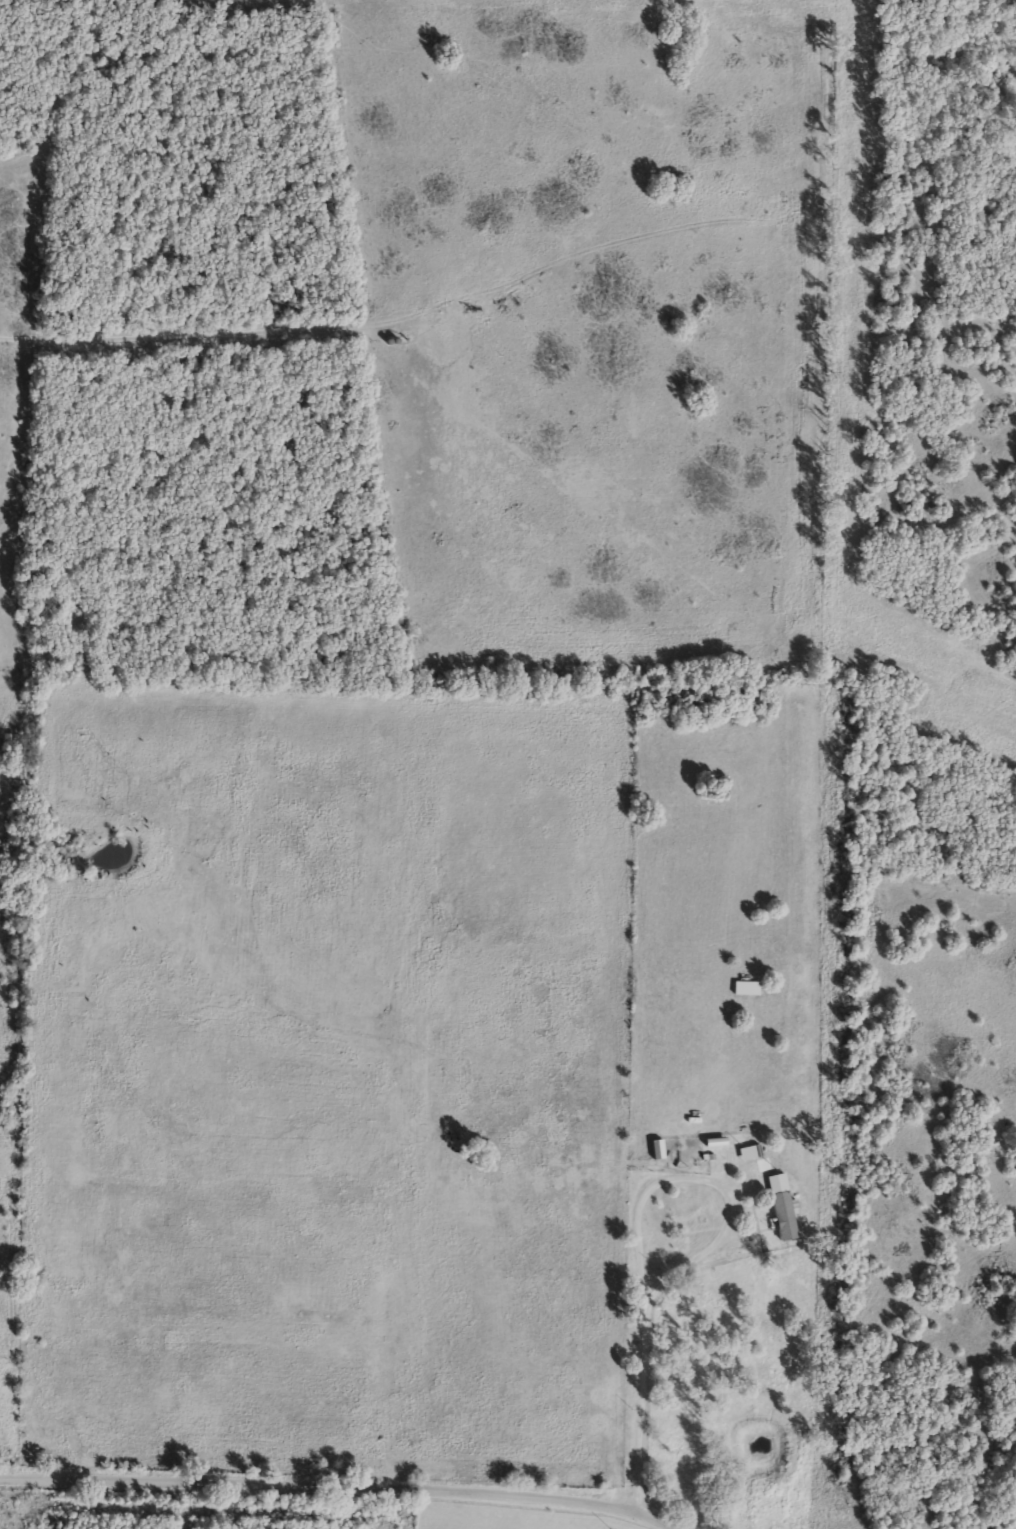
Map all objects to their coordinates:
building: (749, 1126)
building: (773, 1181)
building: (781, 1214)
road: (634, 1230)
road: (340, 1484)

